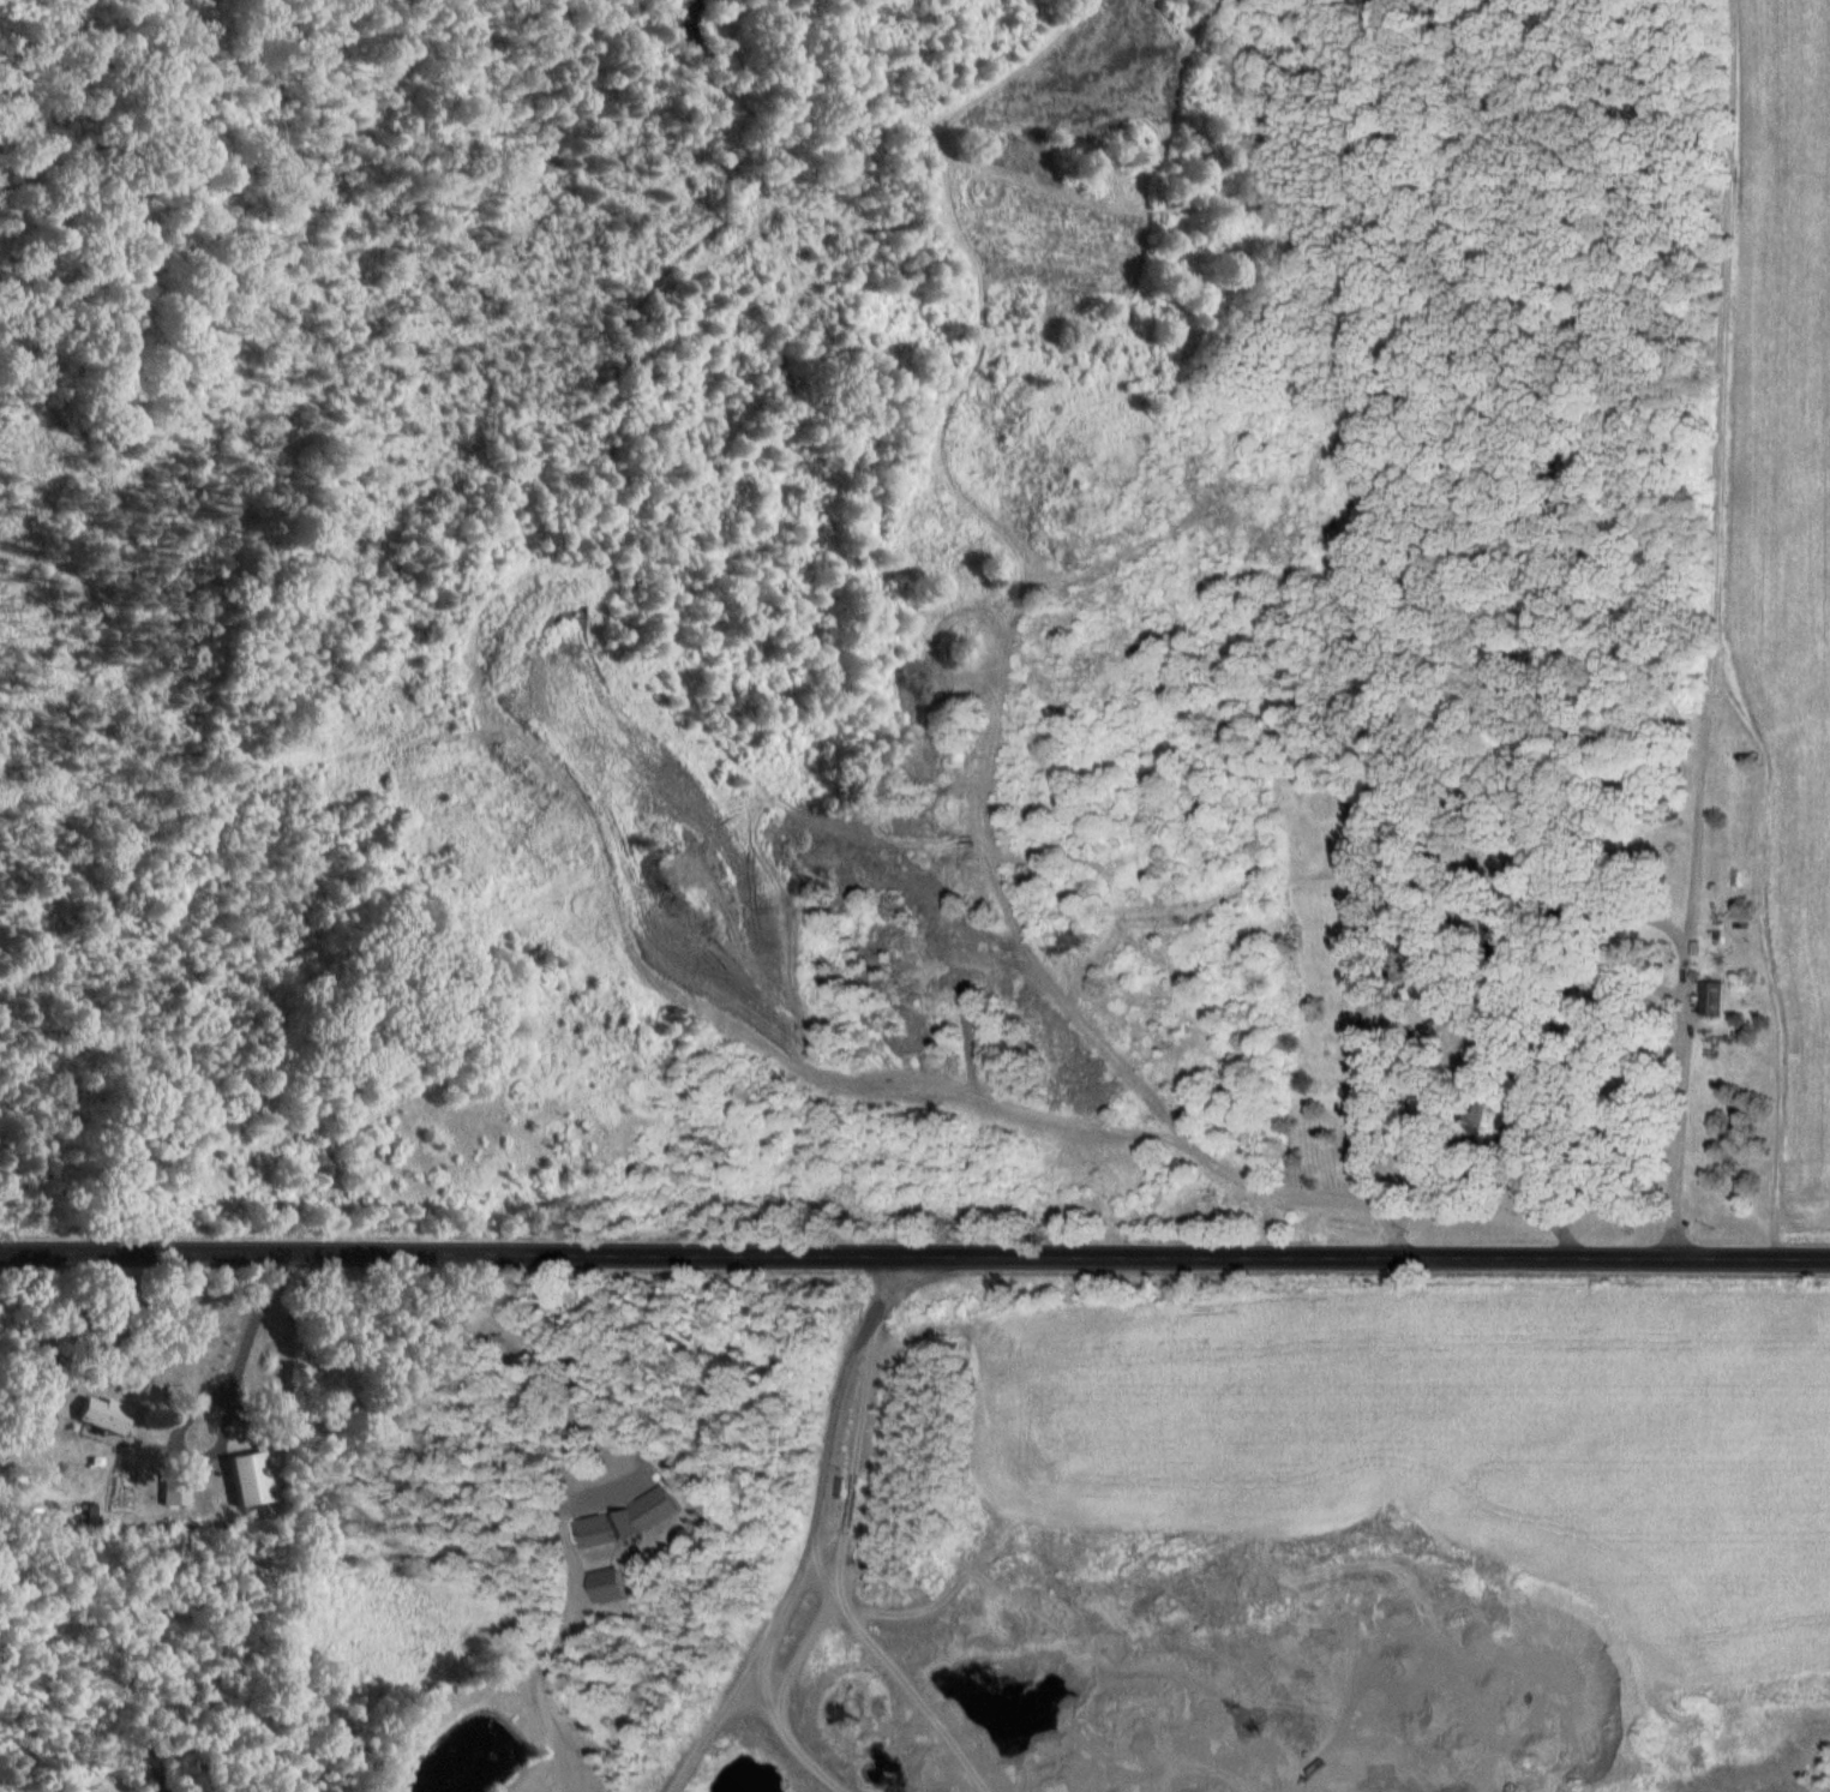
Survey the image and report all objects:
building: (1429, 985)
building: (1710, 997)
road: (1684, 1033)
road: (1357, 1108)
building: (1415, 1111)
building: (1476, 1114)
road: (1474, 1174)
road: (914, 1252)
road: (594, 1395)
road: (200, 1401)
building: (98, 1413)
building: (373, 1415)
building: (246, 1479)
building: (174, 1488)
building: (596, 1532)

